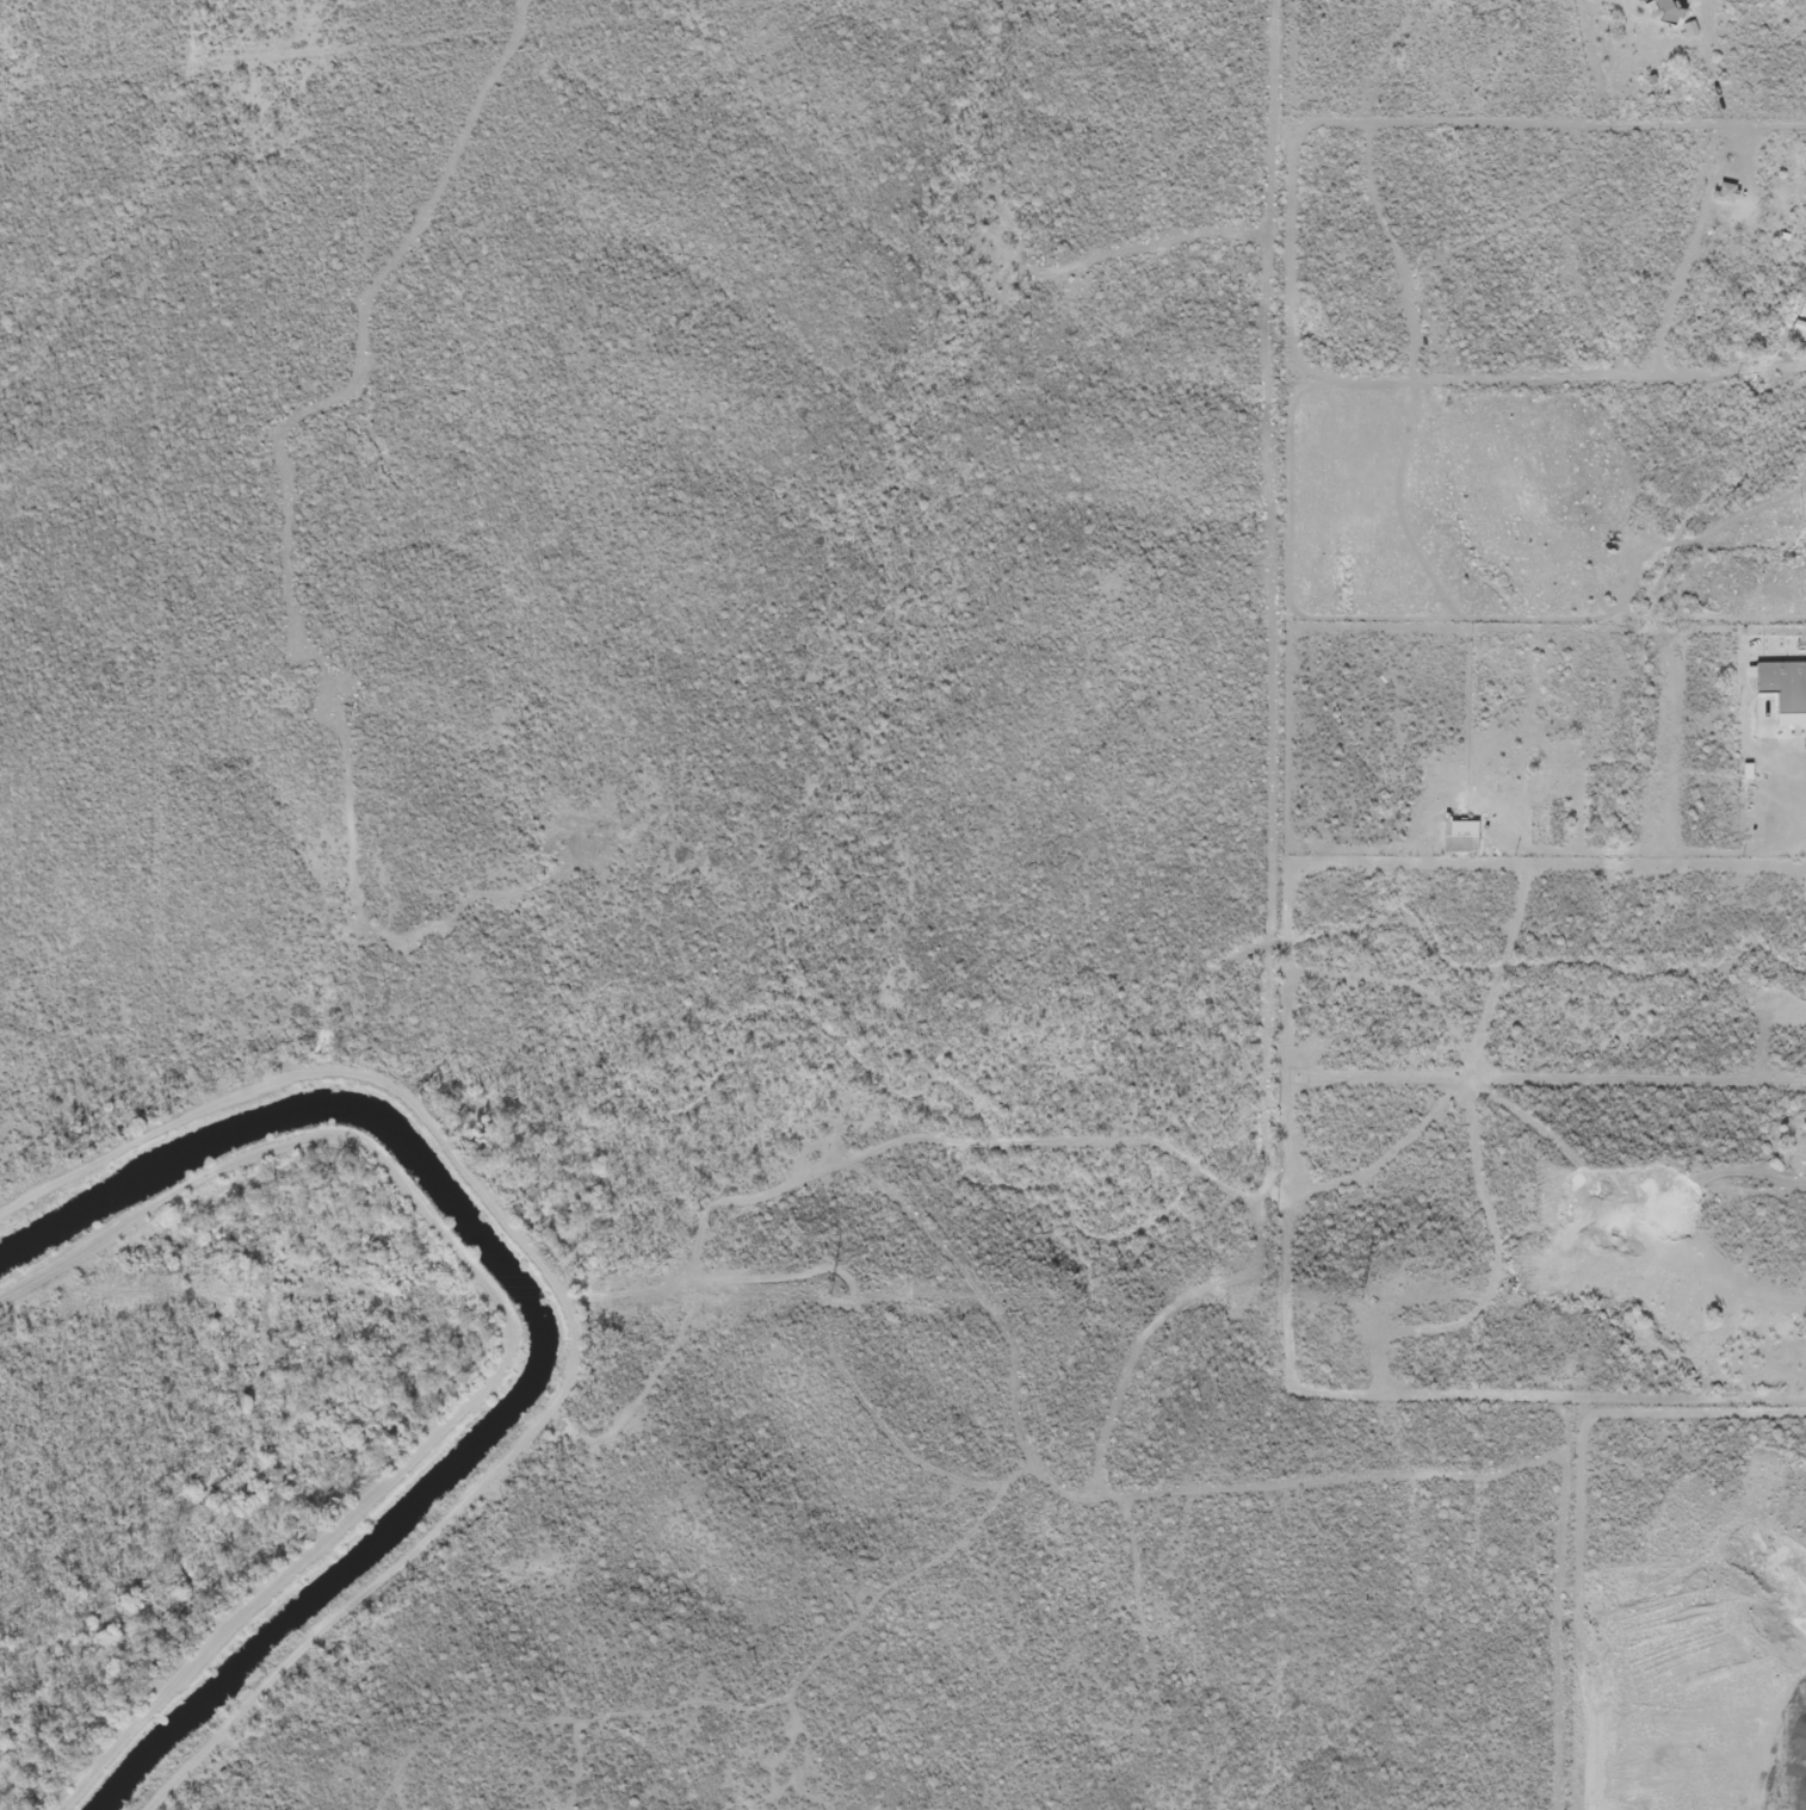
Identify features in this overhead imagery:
building: (1653, 12)
road: (1731, 126)
building: (1718, 194)
building: (1781, 692)
road: (1798, 726)
building: (1492, 801)
building: (1452, 838)
road: (1530, 847)
road: (1634, 1198)
power tower: (251, 1285)
power tower: (834, 1289)
power tower: (1367, 1293)
road: (1263, 1490)
road: (730, 1709)

